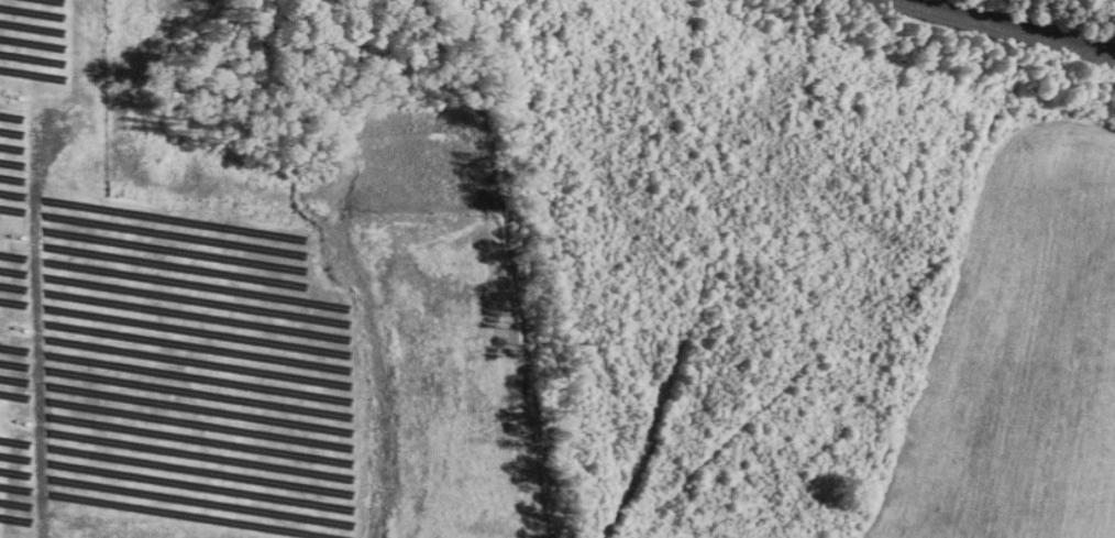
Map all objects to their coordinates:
railway: (1026, 23)

